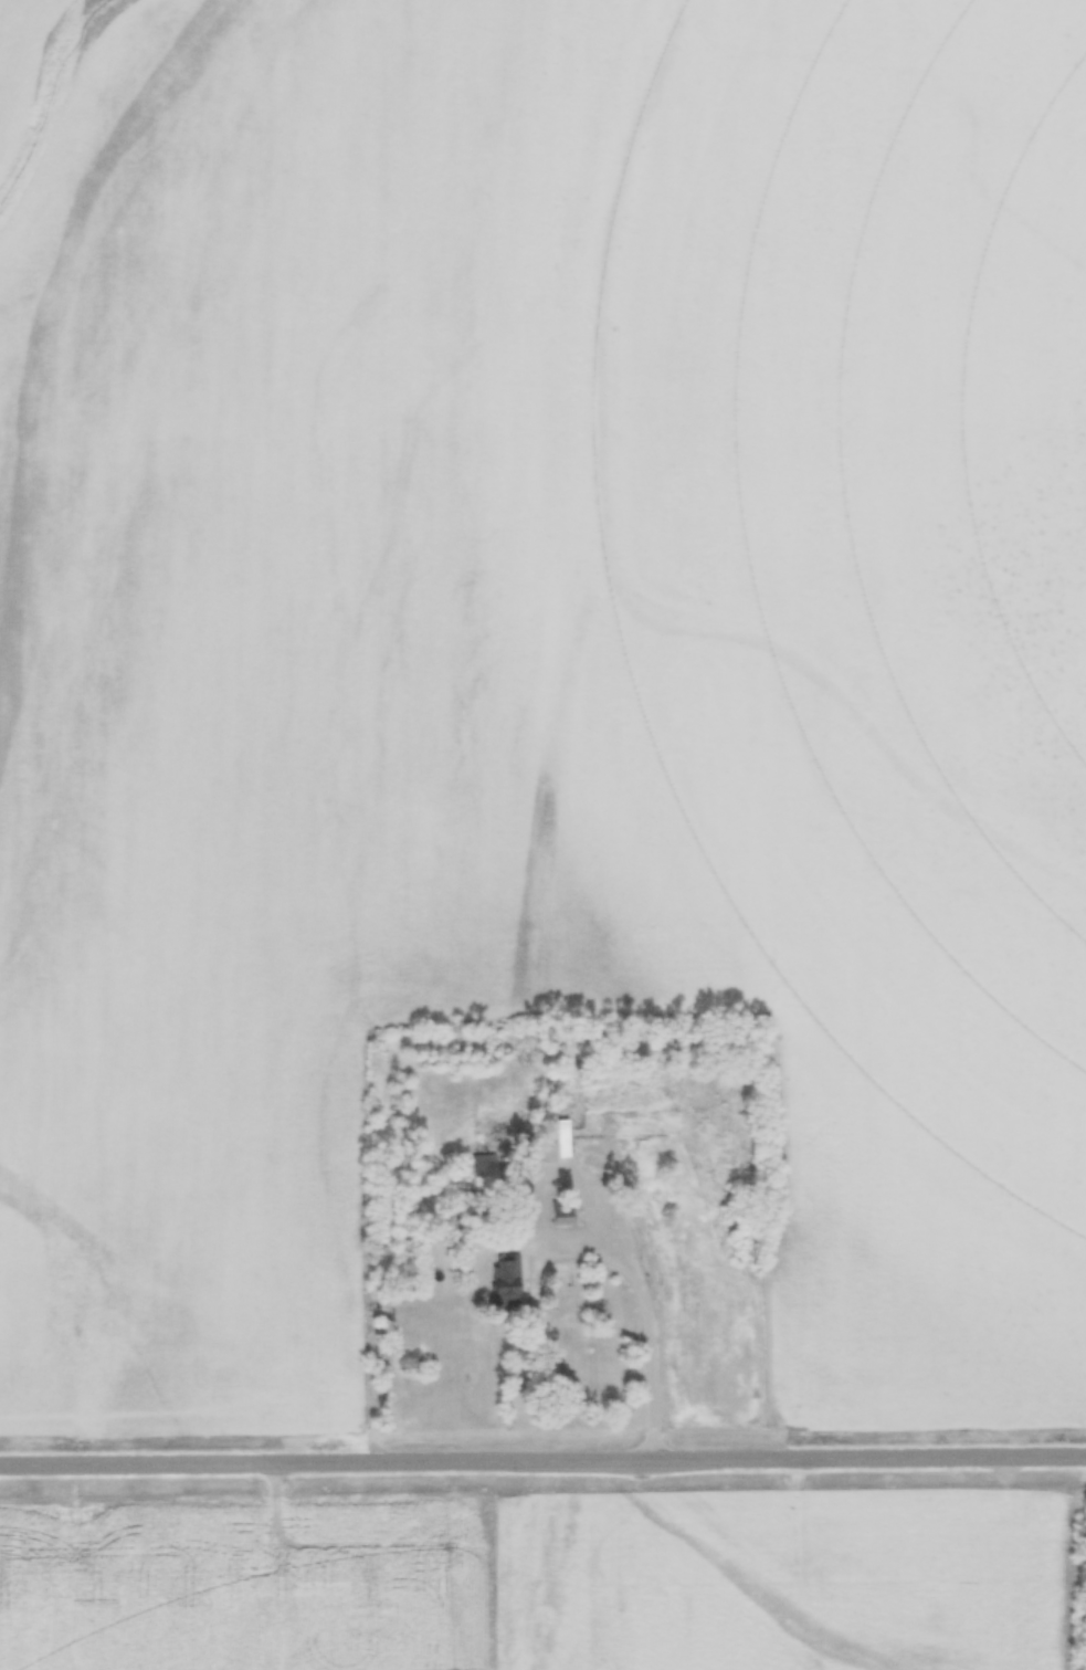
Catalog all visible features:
building: (560, 1134)
building: (482, 1168)
building: (563, 1209)
building: (505, 1275)
road: (649, 1333)
road: (542, 1464)

